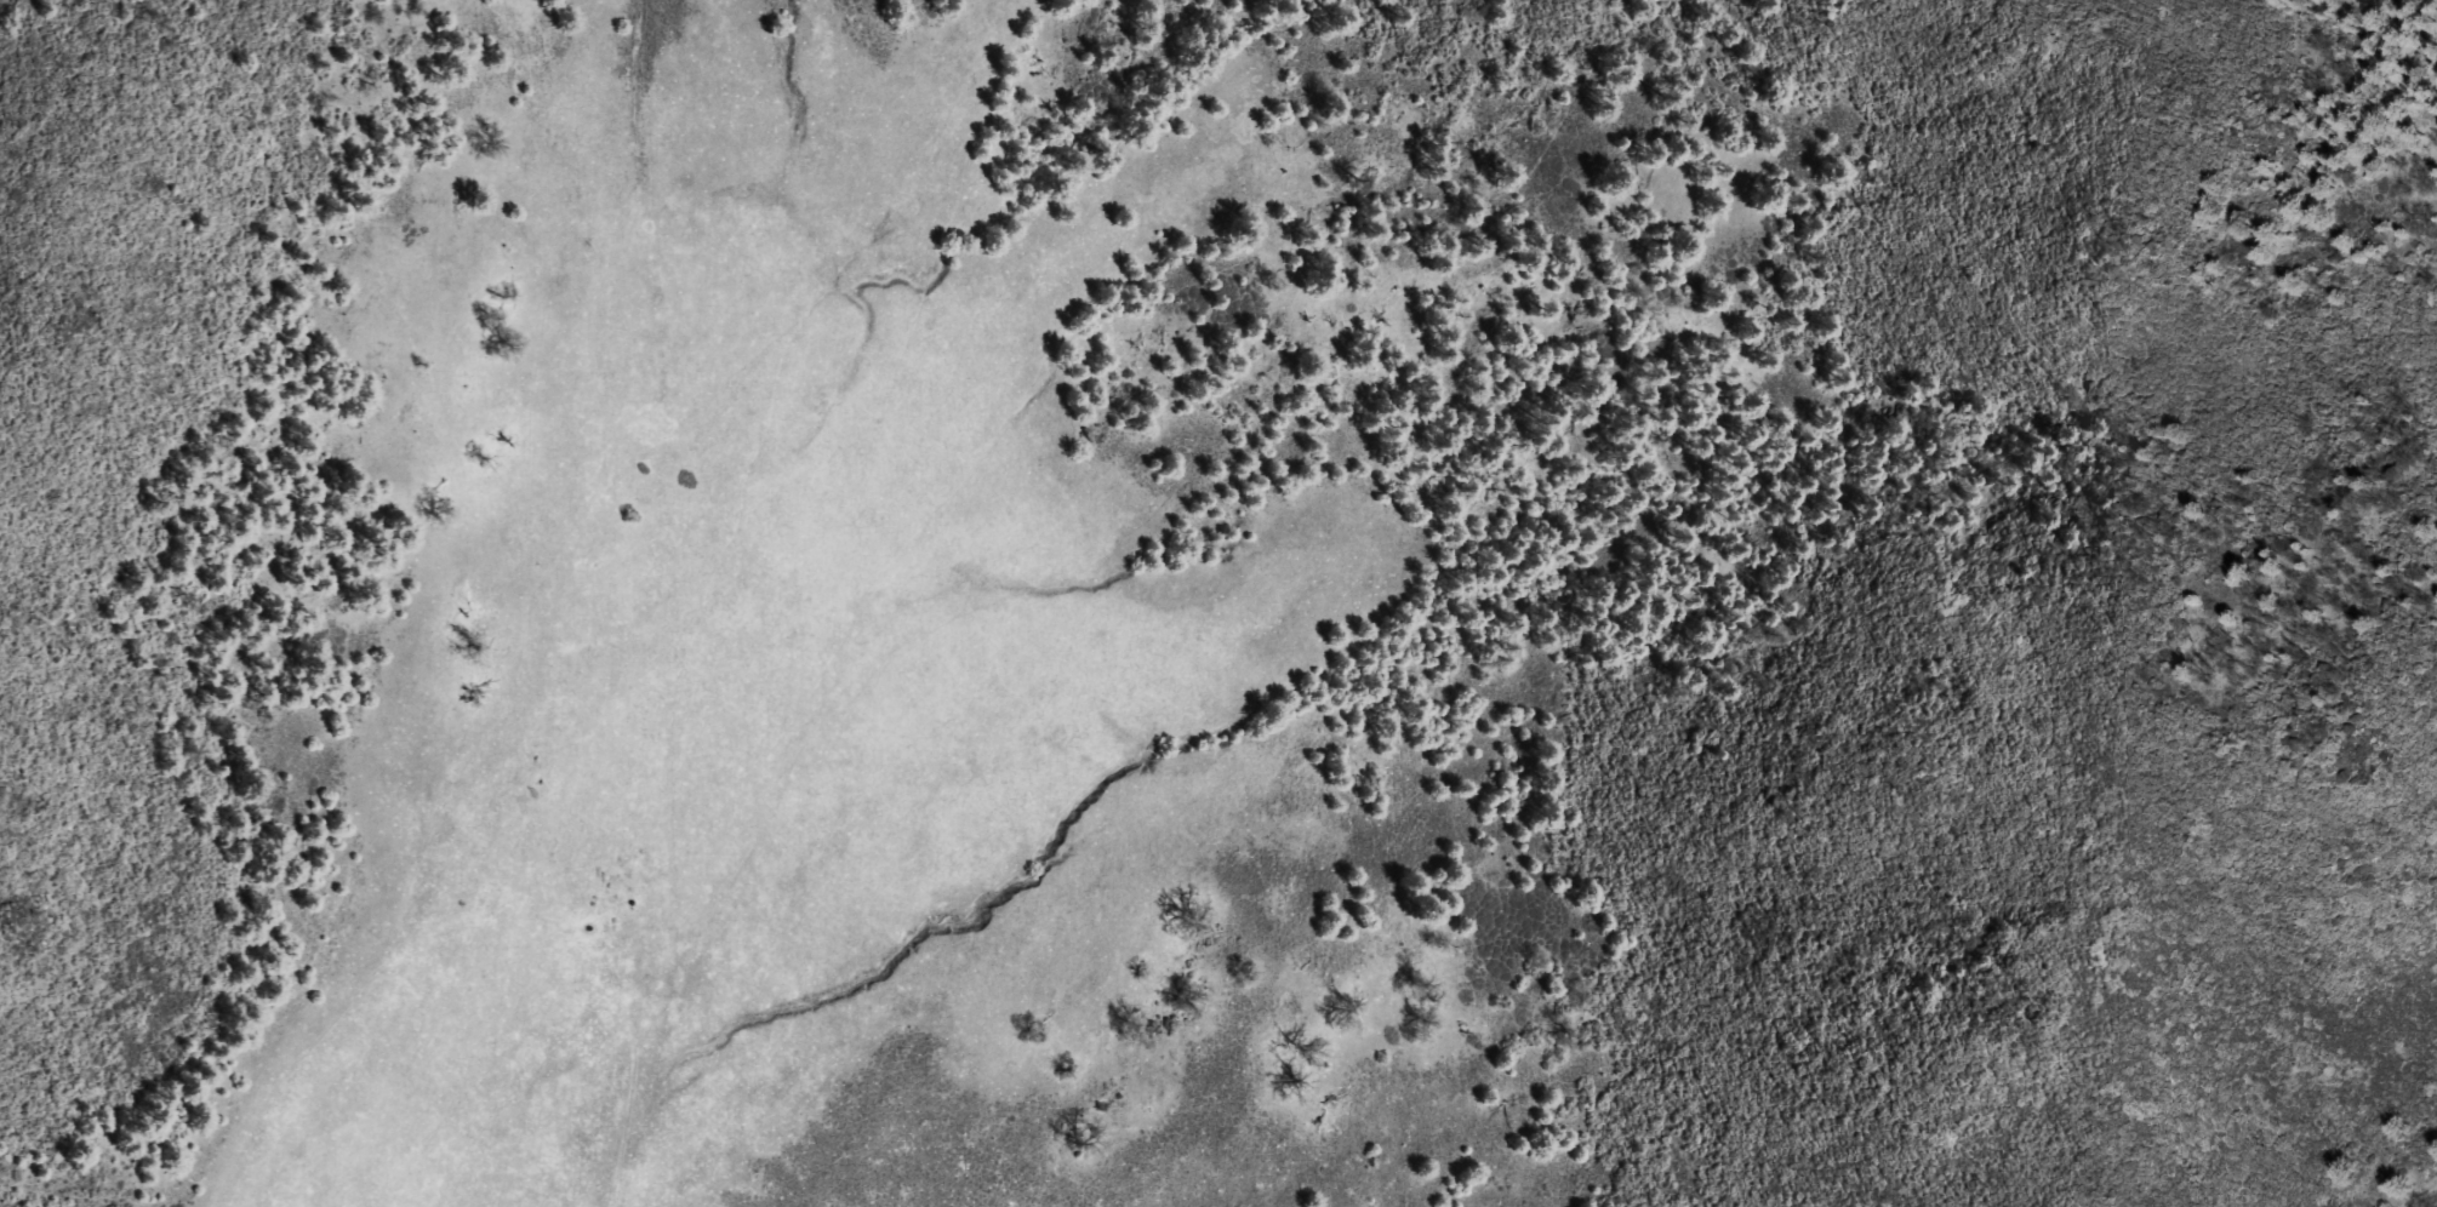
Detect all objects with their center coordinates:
road: (2416, 1190)

